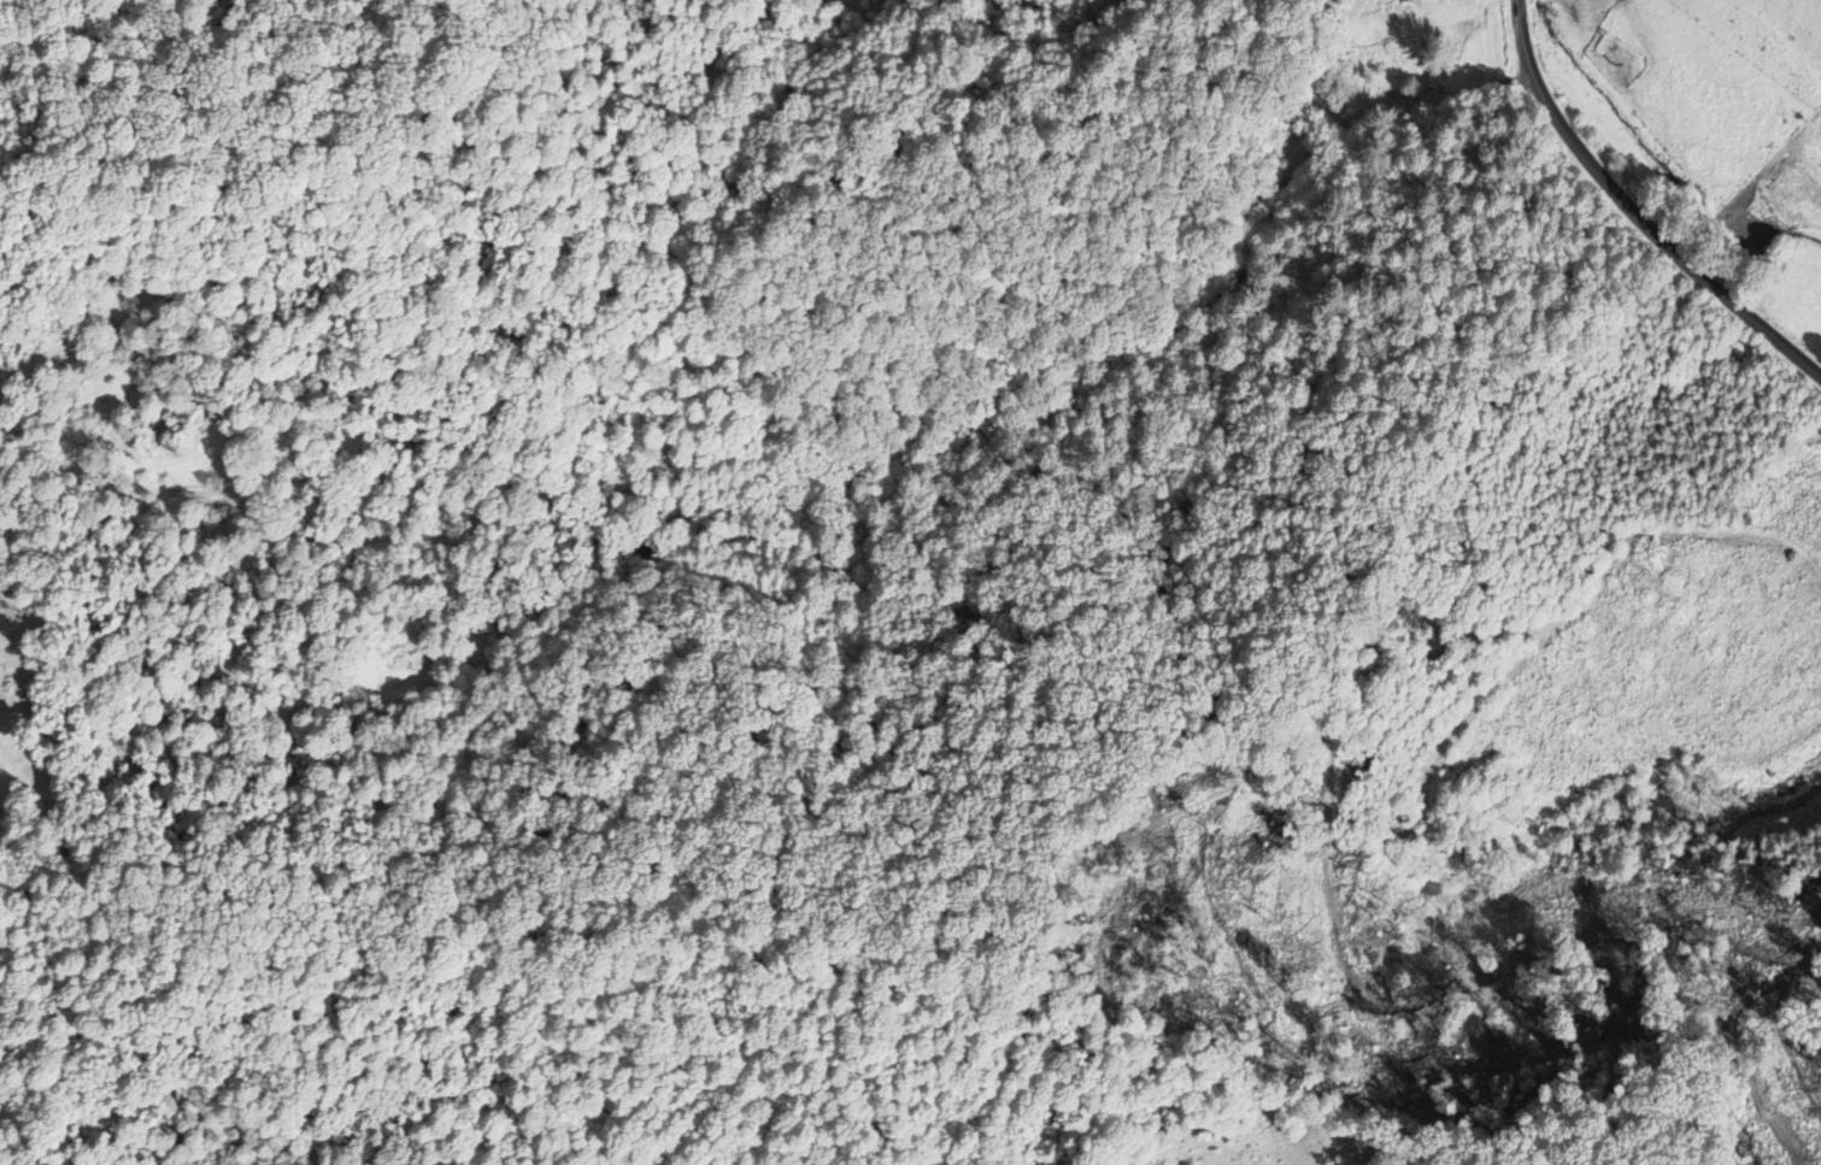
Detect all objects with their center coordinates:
road: (1635, 205)

